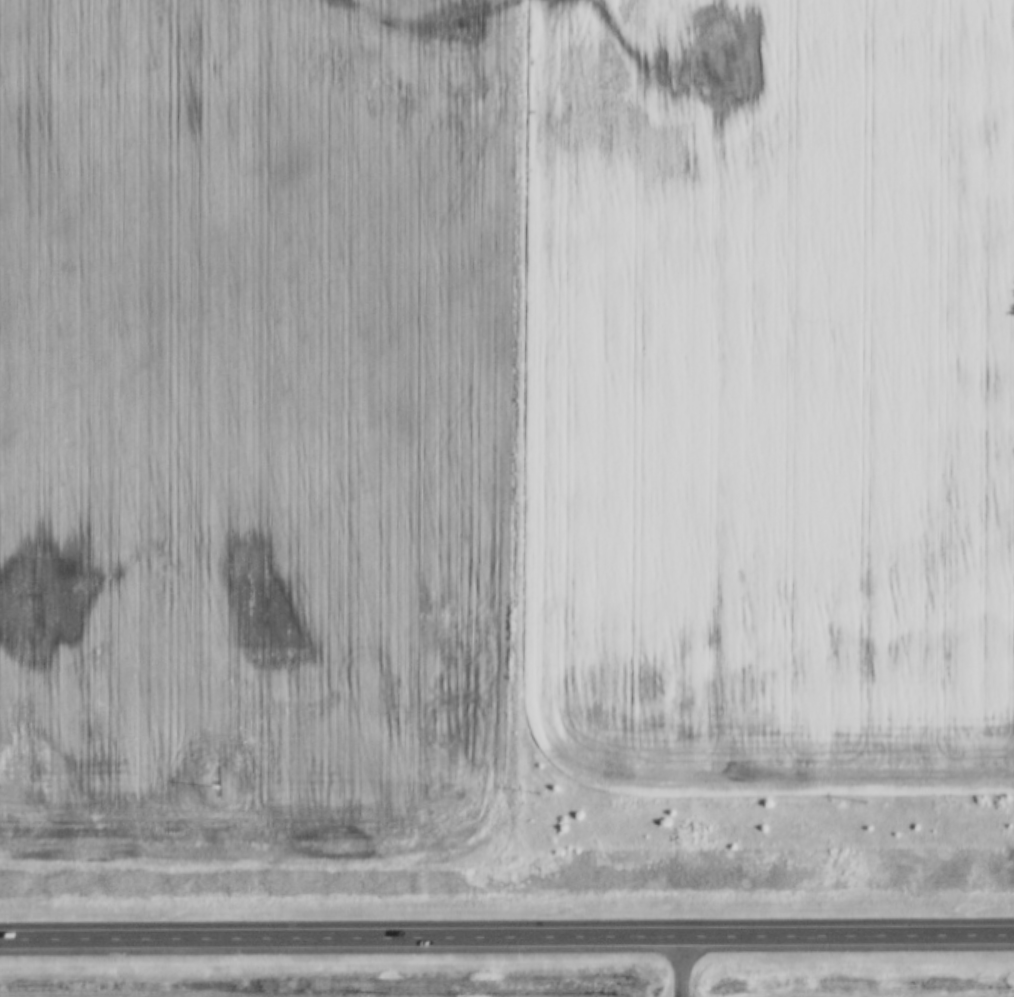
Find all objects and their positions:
road: (507, 933)

